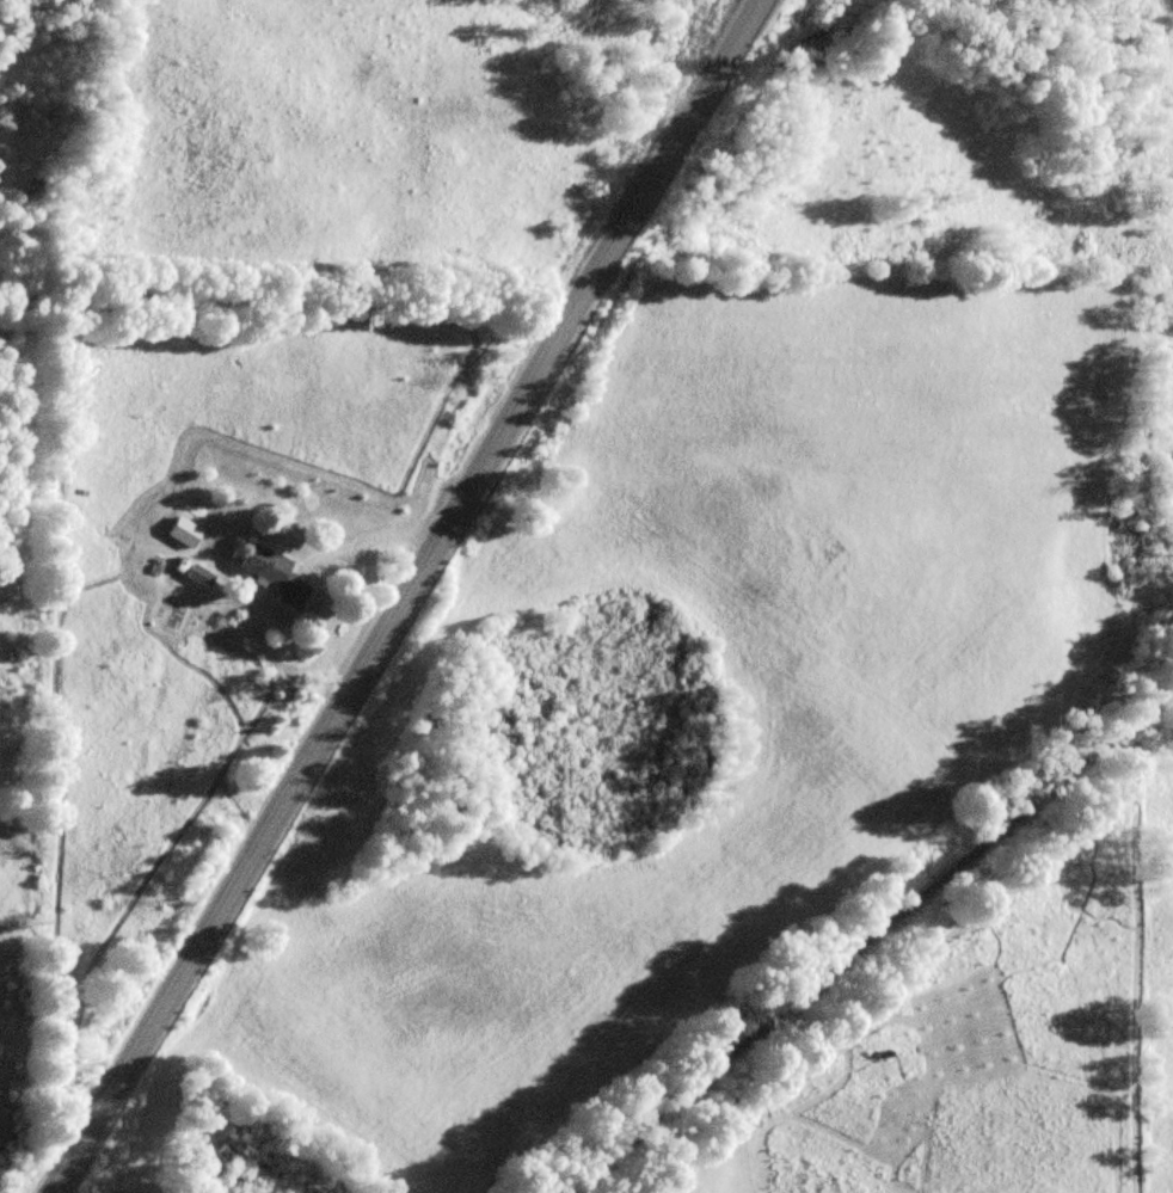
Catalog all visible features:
building: (276, 576)
road: (403, 596)
road: (865, 935)

